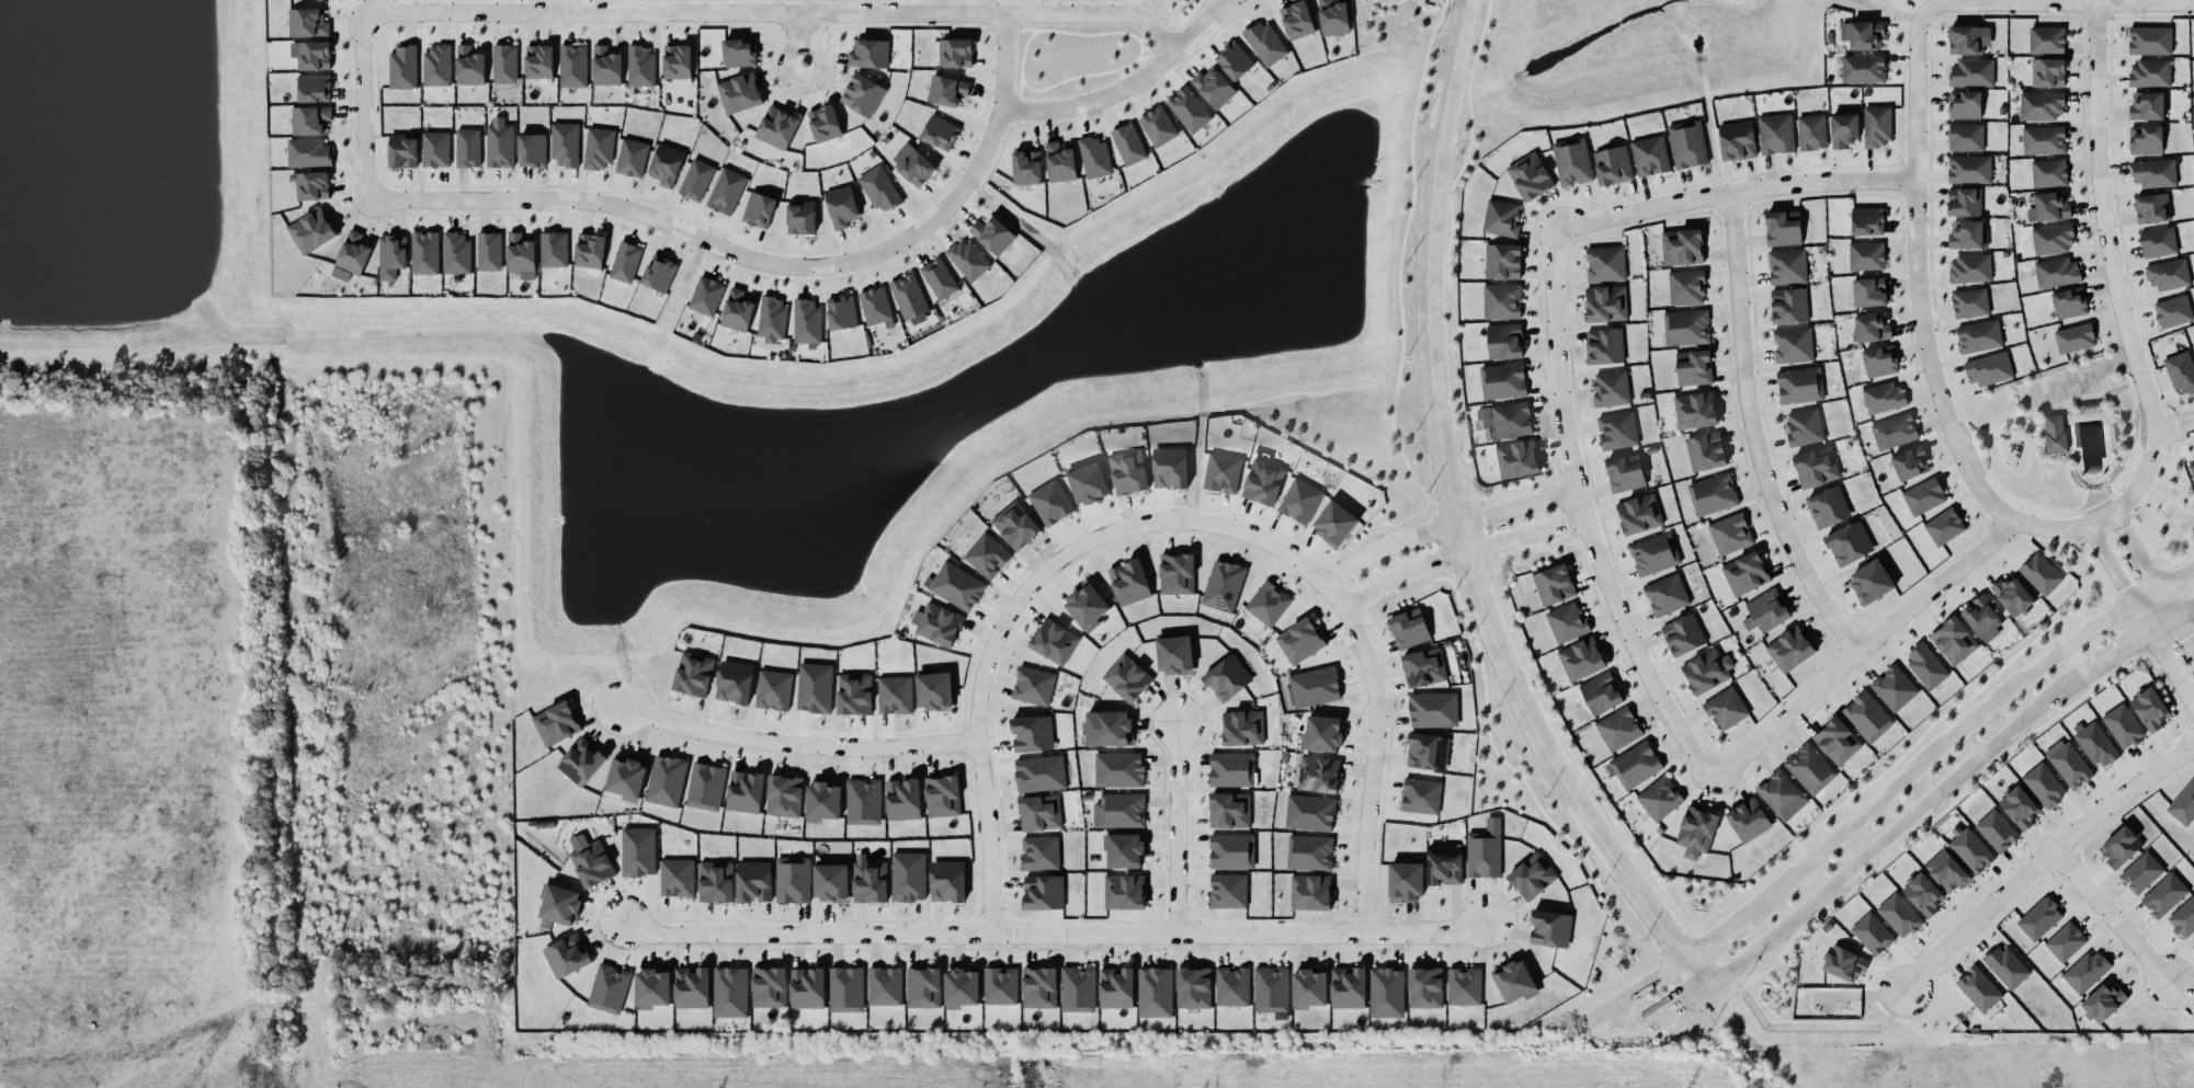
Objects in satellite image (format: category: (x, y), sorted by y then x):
building: (320, 0)
road: (2058, 1)
road: (775, 11)
building: (1333, 16)
building: (1297, 20)
building: (307, 22)
road: (1083, 33)
building: (1866, 35)
road: (803, 37)
building: (1966, 39)
building: (2046, 39)
building: (2150, 39)
building: (1265, 43)
building: (739, 51)
building: (869, 53)
building: (956, 53)
building: (314, 55)
building: (1234, 59)
building: (538, 61)
building: (504, 64)
building: (678, 64)
building: (436, 65)
building: (469, 65)
building: (572, 65)
building: (402, 66)
building: (606, 66)
building: (640, 66)
road: (1021, 66)
building: (1863, 68)
building: (1971, 72)
building: (2048, 72)
building: (2150, 72)
road: (1092, 73)
road: (1128, 83)
building: (1213, 87)
building: (314, 88)
building: (946, 90)
building: (740, 92)
building: (863, 94)
road: (363, 103)
building: (1965, 104)
building: (2040, 104)
building: (2147, 105)
building: (1189, 108)
building: (310, 119)
building: (823, 123)
building: (1158, 125)
building: (1877, 125)
building: (776, 127)
building: (1844, 130)
building: (940, 131)
building: (1811, 131)
building: (1775, 134)
building: (1966, 136)
building: (2044, 139)
building: (2146, 139)
building: (1737, 140)
building: (565, 144)
building: (1128, 144)
building: (1687, 144)
building: (499, 145)
building: (467, 147)
building: (599, 147)
building: (435, 148)
building: (532, 149)
building: (403, 150)
building: (309, 152)
building: (1650, 154)
building: (1094, 156)
building: (632, 157)
building: (1059, 161)
building: (1572, 162)
building: (666, 164)
building: (1612, 164)
building: (914, 167)
building: (1026, 167)
building: (1969, 169)
building: (2049, 172)
building: (2153, 172)
building: (1530, 175)
building: (696, 179)
building: (311, 184)
building: (879, 188)
road: (1736, 188)
building: (726, 191)
building: (1964, 201)
building: (2051, 205)
building: (841, 206)
building: (2157, 207)
building: (759, 209)
building: (800, 216)
building: (1501, 217)
building: (1867, 220)
building: (1784, 227)
building: (311, 230)
building: (1966, 233)
building: (992, 234)
building: (2054, 238)
building: (2158, 241)
building: (554, 249)
building: (489, 251)
building: (589, 251)
building: (424, 252)
building: (457, 253)
building: (521, 253)
building: (352, 255)
building: (391, 255)
building: (1866, 255)
road: (763, 259)
building: (968, 259)
building: (1502, 261)
building: (625, 262)
building: (1605, 263)
building: (1787, 266)
building: (1970, 267)
road: (2113, 271)
building: (2057, 272)
building: (659, 273)
building: (2169, 274)
building: (939, 277)
building: (1686, 286)
building: (1869, 291)
building: (706, 296)
building: (909, 297)
building: (1502, 300)
building: (1970, 301)
building: (2069, 301)
building: (1606, 302)
building: (1789, 305)
building: (876, 306)
building: (737, 310)
building: (2173, 310)
building: (842, 311)
building: (772, 319)
building: (806, 320)
road: (1923, 321)
building: (1686, 327)
building: (1872, 327)
building: (1979, 335)
building: (2074, 337)
building: (1504, 341)
building: (1793, 344)
building: (1604, 345)
building: (1880, 360)
building: (1695, 368)
building: (1988, 368)
road: (2080, 371)
building: (2181, 371)
building: (1503, 380)
building: (1800, 385)
building: (1611, 388)
building: (1883, 397)
building: (1695, 410)
building: (1507, 419)
building: (1804, 426)
road: (2174, 428)
building: (1617, 430)
building: (1894, 431)
road: (1754, 433)
building: (2055, 433)
building: (1706, 450)
building: (1517, 458)
building: (1911, 462)
building: (1817, 466)
building: (1170, 467)
building: (2192, 468)
building: (1128, 471)
building: (1223, 472)
building: (1263, 481)
building: (1088, 483)
building: (1713, 493)
building: (1924, 495)
building: (1299, 500)
building: (1050, 502)
building: (1828, 506)
road: (1453, 507)
building: (1639, 513)
road: (1585, 519)
building: (1334, 522)
building: (1015, 524)
road: (1446, 525)
building: (1944, 526)
building: (1730, 532)
building: (1849, 543)
road: (1459, 552)
building: (1652, 553)
building: (987, 554)
building: (1176, 573)
building: (1746, 573)
building: (2040, 573)
road: (2157, 579)
building: (1128, 581)
building: (1872, 581)
building: (1554, 584)
building: (955, 585)
road: (1030, 585)
building: (1223, 585)
building: (1667, 594)
building: (2012, 595)
building: (1267, 603)
building: (1087, 605)
building: (1766, 610)
road: (2185, 614)
road: (2141, 615)
building: (1982, 617)
building: (1567, 621)
building: (937, 623)
building: (1408, 628)
building: (1683, 634)
building: (1299, 640)
building: (1954, 640)
building: (1054, 641)
building: (1789, 648)
road: (1862, 648)
building: (1174, 654)
road: (2114, 656)
building: (1581, 657)
building: (1925, 665)
building: (1424, 667)
building: (1707, 669)
building: (693, 673)
building: (1126, 677)
building: (1227, 677)
building: (735, 680)
building: (1033, 685)
building: (815, 687)
building: (1312, 687)
building: (1895, 687)
building: (773, 689)
building: (934, 690)
building: (1601, 692)
building: (854, 694)
building: (894, 694)
building: (1726, 708)
building: (1433, 709)
building: (2151, 709)
building: (1867, 715)
building: (558, 723)
building: (2123, 725)
building: (1242, 726)
building: (1109, 728)
building: (1618, 728)
building: (1032, 733)
building: (1323, 733)
building: (1838, 740)
road: (797, 743)
building: (2096, 744)
building: (1428, 751)
road: (1932, 752)
building: (581, 761)
building: (2068, 763)
building: (1635, 765)
building: (1118, 768)
building: (1231, 768)
road: (1372, 768)
building: (1810, 768)
building: (1039, 772)
building: (1318, 774)
building: (626, 777)
building: (666, 780)
building: (2045, 784)
building: (705, 786)
building: (746, 791)
building: (784, 794)
building: (1421, 794)
building: (1782, 794)
building: (942, 795)
building: (1659, 798)
building: (903, 799)
building: (823, 800)
building: (863, 801)
building: (2183, 804)
building: (2020, 806)
building: (1119, 810)
building: (1229, 810)
building: (1039, 812)
building: (1310, 812)
building: (1748, 818)
road: (1178, 827)
building: (1997, 829)
building: (1696, 831)
road: (1880, 843)
building: (2121, 846)
building: (1485, 849)
building: (638, 850)
building: (1125, 850)
building: (1231, 850)
building: (1970, 850)
building: (1309, 851)
building: (1041, 852)
road: (2040, 856)
building: (590, 860)
building: (1444, 863)
building: (1946, 871)
building: (2141, 872)
building: (908, 875)
building: (1532, 875)
building: (677, 877)
building: (792, 879)
building: (947, 880)
building: (1406, 880)
building: (715, 881)
building: (753, 881)
building: (869, 881)
building: (831, 882)
building: (1228, 890)
building: (1124, 891)
building: (1044, 892)
building: (1310, 892)
building: (1924, 894)
building: (2164, 894)
building: (560, 904)
road: (2108, 914)
building: (1899, 915)
building: (2039, 917)
building: (2183, 917)
building: (1550, 928)
building: (1873, 934)
road: (806, 935)
road: (1239, 935)
building: (2066, 941)
building: (567, 955)
building: (1844, 963)
building: (2005, 965)
building: (2087, 970)
road: (1697, 973)
building: (1514, 981)
building: (885, 985)
building: (1000, 985)
building: (1464, 985)
building: (692, 986)
building: (769, 986)
building: (923, 986)
building: (1039, 986)
building: (1116, 986)
building: (1232, 986)
building: (1348, 986)
building: (652, 987)
building: (807, 987)
building: (962, 987)
building: (1193, 987)
building: (1309, 987)
building: (1425, 987)
road: (1638, 987)
building: (609, 988)
building: (846, 988)
building: (1077, 988)
building: (1270, 988)
building: (1979, 988)
building: (730, 992)
building: (1155, 992)
building: (1386, 992)
building: (2104, 1000)
road: (1683, 1003)
road: (1718, 1003)

